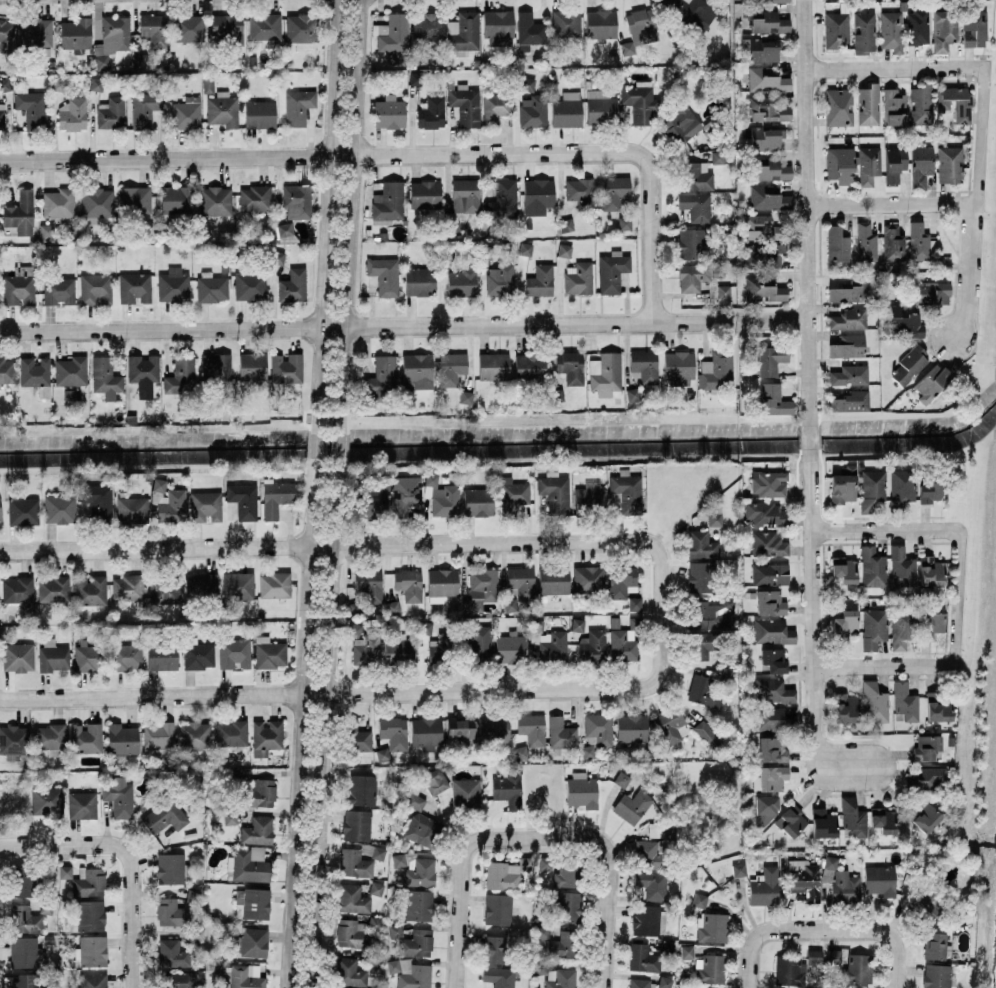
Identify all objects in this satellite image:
building: (766, 0)
building: (692, 11)
building: (768, 21)
building: (566, 22)
building: (600, 23)
building: (427, 25)
building: (228, 26)
building: (264, 26)
building: (917, 26)
building: (300, 27)
building: (498, 27)
building: (188, 28)
building: (974, 28)
building: (155, 29)
building: (531, 29)
building: (639, 29)
building: (836, 29)
building: (944, 29)
building: (891, 30)
building: (36, 31)
building: (392, 32)
building: (463, 32)
building: (864, 32)
building: (7, 33)
building: (75, 33)
building: (112, 38)
building: (762, 49)
building: (140, 60)
road: (895, 67)
building: (416, 78)
building: (766, 80)
building: (59, 83)
building: (96, 83)
building: (526, 83)
building: (4, 84)
building: (208, 84)
building: (955, 101)
building: (638, 103)
building: (465, 104)
building: (868, 104)
building: (921, 104)
building: (298, 106)
building: (600, 106)
building: (839, 106)
building: (495, 107)
building: (894, 107)
building: (32, 108)
building: (145, 109)
building: (223, 109)
building: (566, 109)
building: (768, 109)
building: (533, 111)
building: (389, 112)
building: (431, 112)
building: (112, 113)
building: (186, 113)
building: (260, 113)
building: (72, 114)
building: (2, 115)
building: (681, 122)
building: (765, 138)
road: (582, 155)
building: (719, 156)
road: (176, 157)
building: (894, 163)
building: (853, 164)
building: (950, 164)
building: (921, 165)
building: (770, 168)
building: (696, 176)
building: (614, 191)
building: (580, 192)
building: (425, 194)
building: (465, 195)
building: (537, 195)
building: (254, 197)
building: (768, 198)
building: (134, 199)
building: (502, 199)
building: (176, 200)
building: (215, 200)
building: (296, 200)
building: (58, 202)
building: (96, 203)
building: (388, 203)
road: (892, 205)
road: (974, 205)
building: (695, 206)
road: (809, 210)
building: (20, 213)
road: (326, 213)
road: (350, 214)
building: (624, 222)
building: (763, 227)
building: (46, 232)
building: (285, 232)
building: (919, 241)
building: (693, 242)
building: (866, 242)
building: (893, 242)
building: (837, 244)
building: (525, 248)
building: (564, 250)
building: (486, 251)
building: (446, 252)
building: (764, 256)
building: (277, 257)
building: (612, 271)
building: (384, 275)
building: (692, 276)
building: (500, 278)
building: (578, 278)
building: (540, 280)
building: (419, 281)
building: (462, 282)
building: (173, 284)
building: (250, 285)
building: (293, 285)
road: (983, 286)
building: (134, 287)
building: (212, 287)
building: (96, 288)
building: (18, 289)
building: (763, 289)
building: (58, 290)
building: (723, 291)
building: (849, 291)
building: (930, 292)
building: (848, 319)
road: (577, 323)
building: (904, 324)
road: (171, 327)
building: (848, 346)
building: (771, 359)
building: (493, 365)
building: (529, 365)
building: (909, 365)
building: (216, 366)
building: (252, 366)
building: (570, 366)
building: (644, 366)
building: (286, 367)
building: (451, 368)
building: (678, 368)
building: (7, 370)
building: (417, 370)
building: (716, 370)
building: (34, 371)
building: (70, 371)
building: (143, 373)
building: (605, 373)
building: (180, 375)
building: (849, 375)
building: (381, 376)
building: (105, 377)
building: (931, 381)
building: (73, 393)
building: (557, 394)
building: (465, 396)
building: (774, 400)
building: (850, 401)
road: (812, 439)
road: (314, 444)
road: (338, 445)
building: (768, 483)
building: (843, 484)
building: (871, 488)
building: (900, 488)
building: (930, 489)
building: (555, 491)
building: (626, 491)
building: (405, 493)
building: (513, 494)
building: (590, 494)
building: (276, 497)
building: (370, 500)
building: (97, 501)
building: (168, 501)
building: (477, 501)
building: (244, 503)
building: (205, 506)
building: (59, 508)
building: (132, 510)
building: (23, 511)
building: (765, 513)
building: (0, 516)
building: (714, 518)
road: (873, 530)
road: (530, 543)
building: (768, 543)
building: (701, 544)
road: (166, 548)
building: (872, 567)
building: (901, 567)
building: (844, 569)
building: (931, 571)
building: (770, 573)
building: (698, 576)
building: (589, 578)
building: (553, 579)
building: (621, 580)
building: (521, 581)
building: (441, 583)
building: (201, 584)
building: (274, 584)
building: (408, 584)
building: (238, 585)
building: (127, 587)
building: (367, 587)
building: (54, 588)
building: (15, 589)
building: (90, 589)
building: (481, 589)
building: (164, 591)
road: (962, 591)
building: (769, 602)
building: (634, 603)
building: (510, 604)
building: (392, 607)
building: (711, 613)
building: (930, 622)
building: (845, 623)
building: (578, 624)
building: (901, 627)
building: (873, 628)
building: (354, 629)
building: (772, 631)
road: (816, 641)
building: (622, 643)
building: (552, 645)
building: (701, 645)
building: (592, 646)
building: (435, 647)
building: (511, 648)
building: (364, 650)
building: (400, 651)
building: (269, 652)
building: (234, 653)
building: (198, 654)
building: (53, 655)
building: (18, 656)
building: (89, 656)
building: (162, 656)
building: (126, 657)
building: (773, 659)
road: (876, 665)
building: (728, 675)
building: (774, 689)
road: (526, 690)
building: (704, 691)
road: (161, 695)
building: (905, 701)
building: (874, 702)
building: (845, 707)
building: (938, 707)
building: (770, 718)
road: (322, 724)
building: (669, 724)
road: (300, 725)
building: (631, 727)
building: (460, 728)
building: (493, 728)
building: (532, 728)
building: (394, 731)
building: (426, 732)
building: (596, 732)
building: (231, 733)
building: (561, 733)
building: (707, 734)
building: (195, 735)
building: (50, 736)
building: (266, 736)
building: (357, 736)
building: (85, 737)
building: (122, 738)
building: (158, 738)
building: (14, 741)
building: (926, 746)
building: (772, 749)
building: (520, 752)
building: (383, 753)
building: (772, 777)
building: (622, 778)
building: (435, 780)
building: (927, 780)
building: (362, 789)
building: (508, 789)
building: (581, 789)
building: (466, 791)
building: (261, 792)
building: (118, 795)
building: (412, 796)
building: (47, 801)
building: (82, 804)
building: (632, 805)
building: (923, 815)
building: (164, 816)
building: (230, 817)
building: (853, 817)
building: (883, 819)
building: (791, 820)
building: (823, 823)
building: (356, 824)
building: (421, 828)
building: (257, 830)
road: (29, 845)
building: (649, 853)
building: (831, 862)
building: (355, 863)
building: (544, 863)
building: (248, 864)
building: (170, 868)
building: (415, 869)
building: (739, 869)
building: (65, 871)
building: (566, 872)
building: (502, 875)
building: (804, 878)
building: (22, 880)
road: (460, 880)
road: (610, 880)
building: (880, 880)
building: (89, 882)
road: (131, 884)
building: (651, 884)
building: (845, 886)
building: (764, 887)
building: (376, 888)
building: (352, 898)
building: (700, 899)
building: (252, 903)
building: (419, 904)
building: (926, 904)
building: (565, 906)
building: (497, 908)
building: (171, 912)
building: (90, 915)
building: (25, 919)
building: (649, 920)
building: (374, 923)
building: (712, 927)
building: (395, 930)
building: (542, 931)
road: (768, 932)
road: (890, 932)
building: (352, 933)
building: (251, 942)
building: (416, 943)
building: (562, 944)
building: (935, 945)
building: (494, 948)
building: (91, 950)
building: (687, 951)
building: (26, 952)
building: (173, 954)
building: (814, 955)
building: (834, 955)
building: (643, 958)
building: (393, 965)
building: (857, 968)
building: (710, 969)
building: (789, 970)
building: (349, 972)
building: (936, 975)
building: (499, 976)
building: (242, 977)
building: (415, 977)
building: (560, 978)
building: (178, 979)
building: (25, 980)
building: (93, 980)
building: (638, 982)
building: (665, 982)
building: (685, 986)
building: (836, 986)

